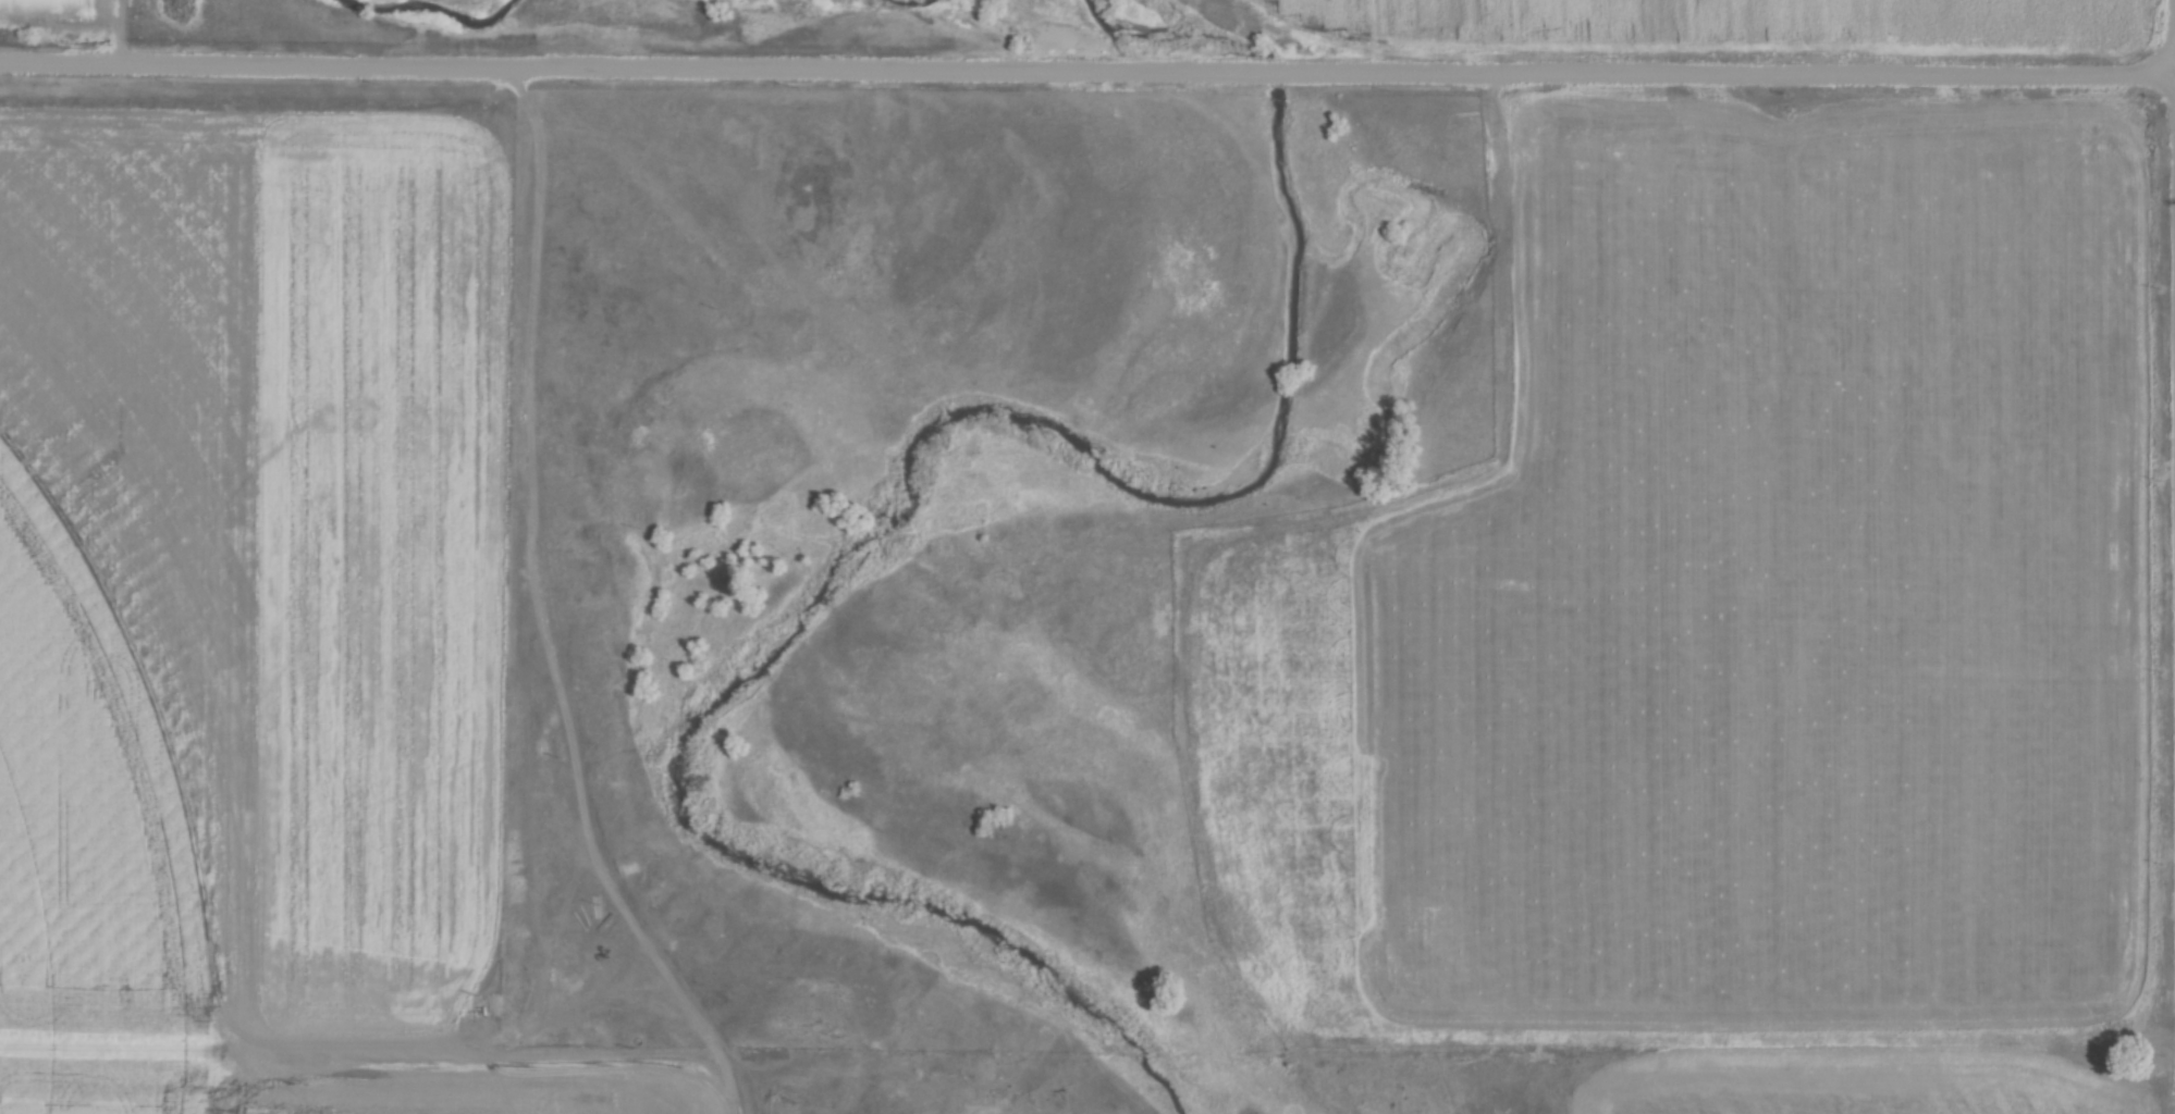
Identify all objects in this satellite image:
crop: (1756, 20)
road: (1090, 72)
crop: (255, 603)
crop: (1742, 616)
crop: (1852, 1090)

